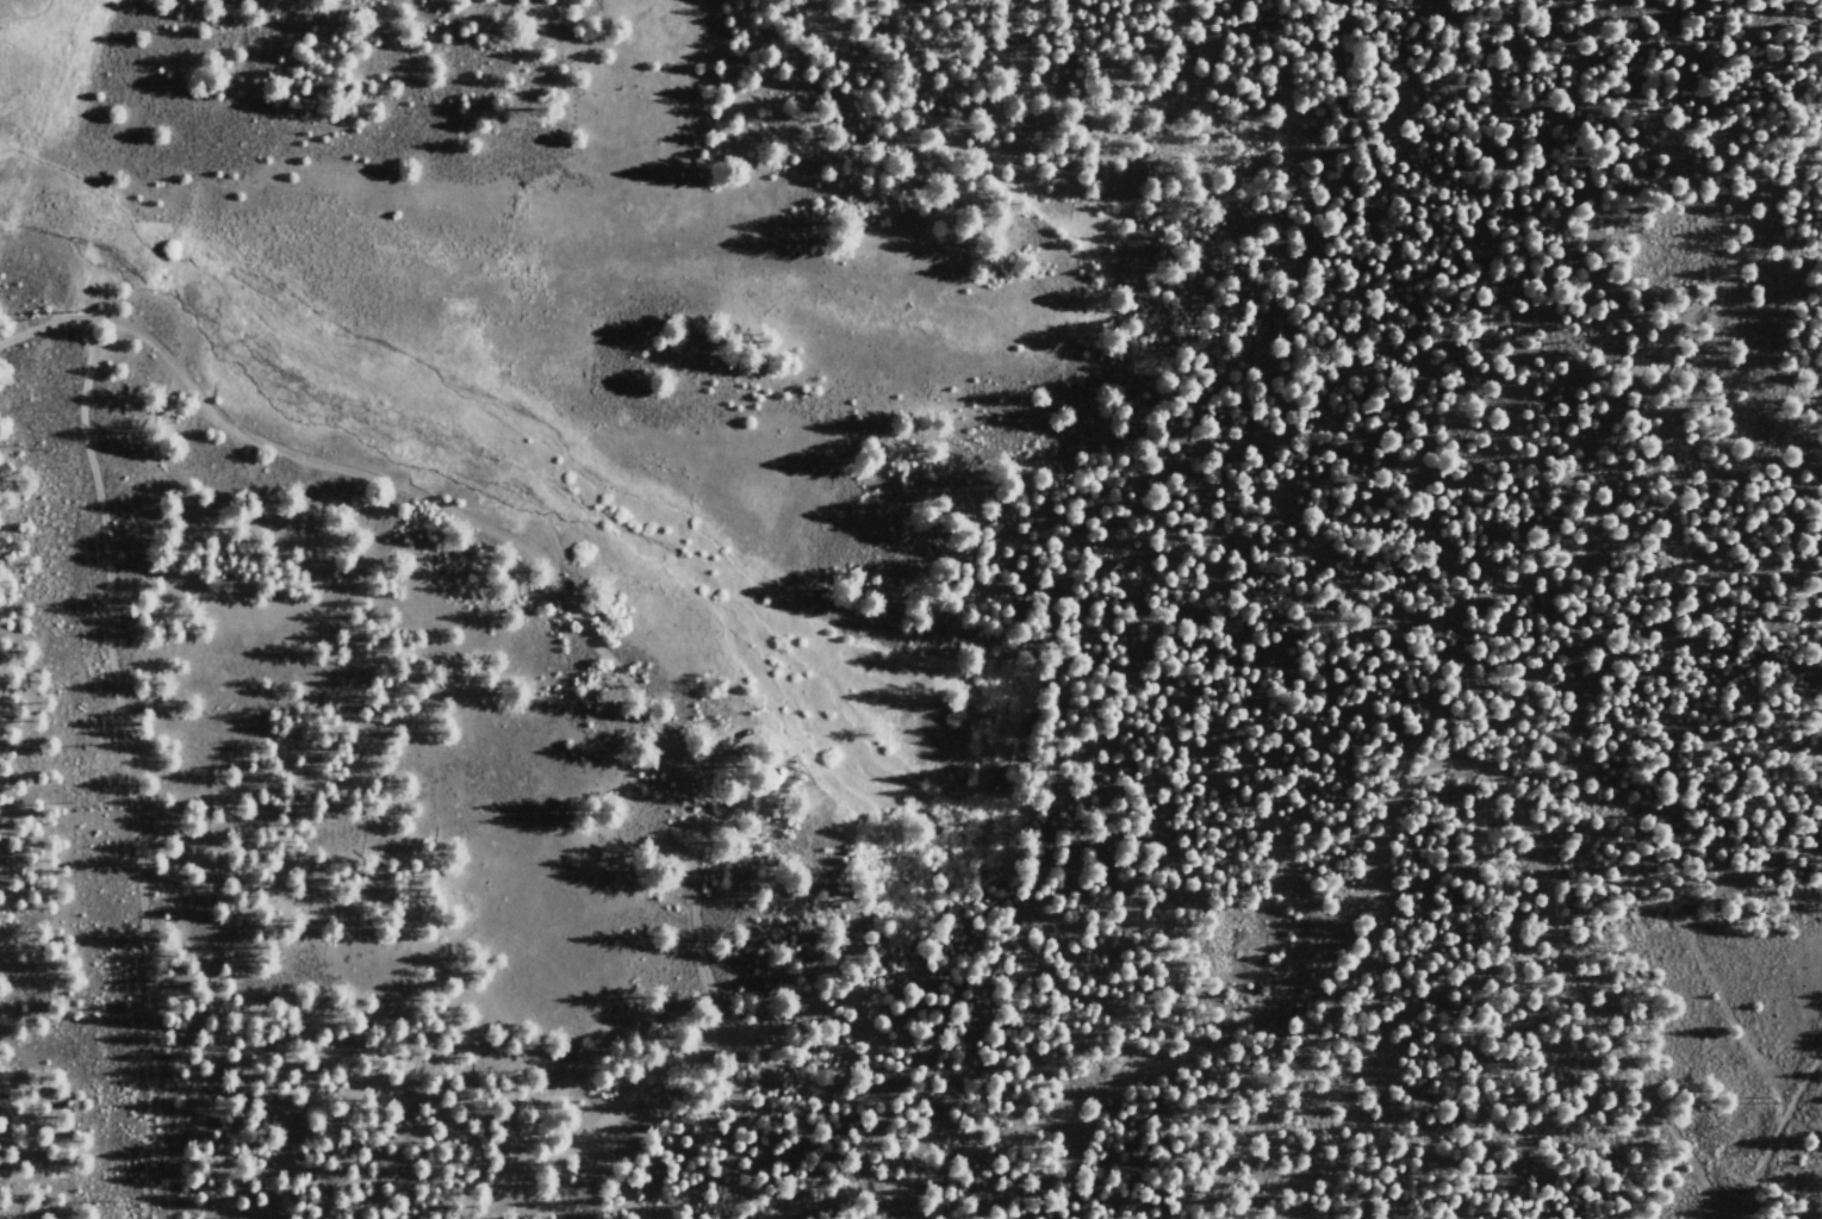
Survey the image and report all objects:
power tower: (56, 306)
road: (601, 648)
road: (1660, 674)
power tower: (99, 742)
road: (125, 766)
road: (1383, 847)
road: (1805, 1091)
power tower: (1762, 1099)
road: (614, 1177)
road: (800, 1199)

